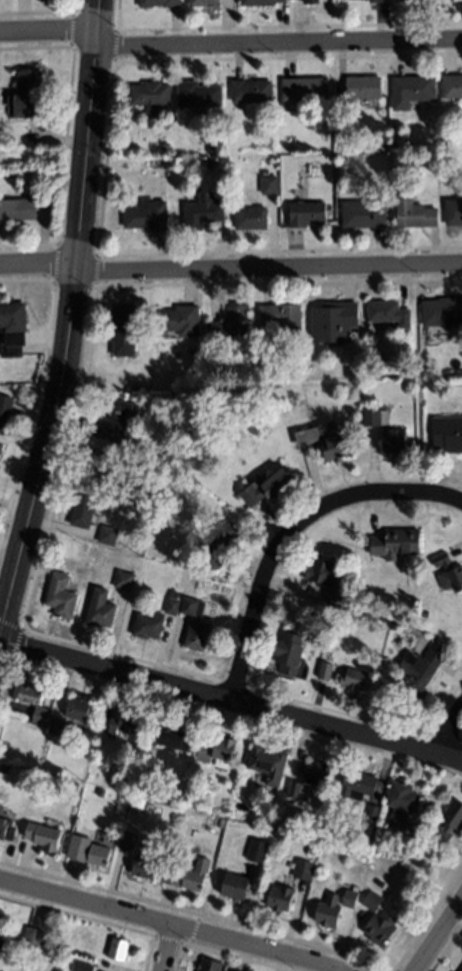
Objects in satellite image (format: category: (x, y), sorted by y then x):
building: (402, 0)
building: (434, 0)
building: (378, 1)
building: (417, 1)
building: (201, 2)
building: (259, 2)
building: (311, 2)
building: (159, 3)
road: (49, 30)
road: (279, 43)
building: (452, 87)
building: (304, 90)
building: (357, 90)
building: (251, 91)
building: (412, 91)
building: (199, 94)
building: (151, 96)
building: (27, 97)
building: (165, 146)
building: (213, 146)
building: (210, 163)
building: (165, 164)
building: (270, 185)
building: (17, 208)
building: (203, 210)
building: (453, 212)
building: (415, 213)
building: (306, 214)
building: (364, 214)
building: (148, 216)
building: (251, 219)
road: (38, 263)
road: (269, 269)
road: (55, 270)
building: (388, 313)
building: (442, 313)
building: (283, 318)
building: (179, 320)
road: (71, 321)
building: (334, 323)
building: (13, 325)
building: (231, 326)
building: (123, 331)
road: (88, 357)
building: (5, 413)
building: (375, 416)
building: (115, 421)
building: (448, 434)
building: (372, 436)
building: (326, 440)
building: (394, 440)
building: (1, 448)
building: (94, 469)
building: (268, 487)
building: (82, 512)
road: (293, 532)
building: (107, 536)
building: (221, 542)
building: (396, 544)
building: (319, 572)
building: (449, 573)
building: (124, 580)
building: (335, 591)
building: (60, 596)
building: (172, 604)
building: (191, 606)
building: (100, 609)
building: (148, 626)
building: (197, 635)
building: (289, 653)
building: (325, 670)
building: (418, 672)
building: (353, 680)
building: (31, 695)
road: (231, 700)
building: (77, 709)
building: (40, 716)
building: (124, 724)
building: (55, 727)
road: (449, 733)
building: (172, 737)
building: (216, 751)
building: (268, 764)
building: (318, 775)
building: (127, 782)
building: (357, 785)
building: (294, 789)
building: (125, 796)
building: (402, 803)
building: (372, 817)
building: (220, 822)
building: (265, 822)
building: (449, 822)
building: (6, 829)
building: (43, 837)
building: (125, 840)
building: (79, 846)
building: (257, 851)
building: (98, 854)
building: (144, 869)
building: (303, 870)
building: (173, 874)
building: (196, 875)
building: (235, 887)
building: (280, 898)
building: (349, 899)
building: (372, 902)
building: (327, 914)
road: (169, 925)
building: (380, 929)
road: (438, 935)
building: (33, 936)
building: (1, 944)
road: (169, 949)
building: (116, 951)
building: (209, 965)
building: (85, 966)
building: (235, 970)
building: (461, 970)

